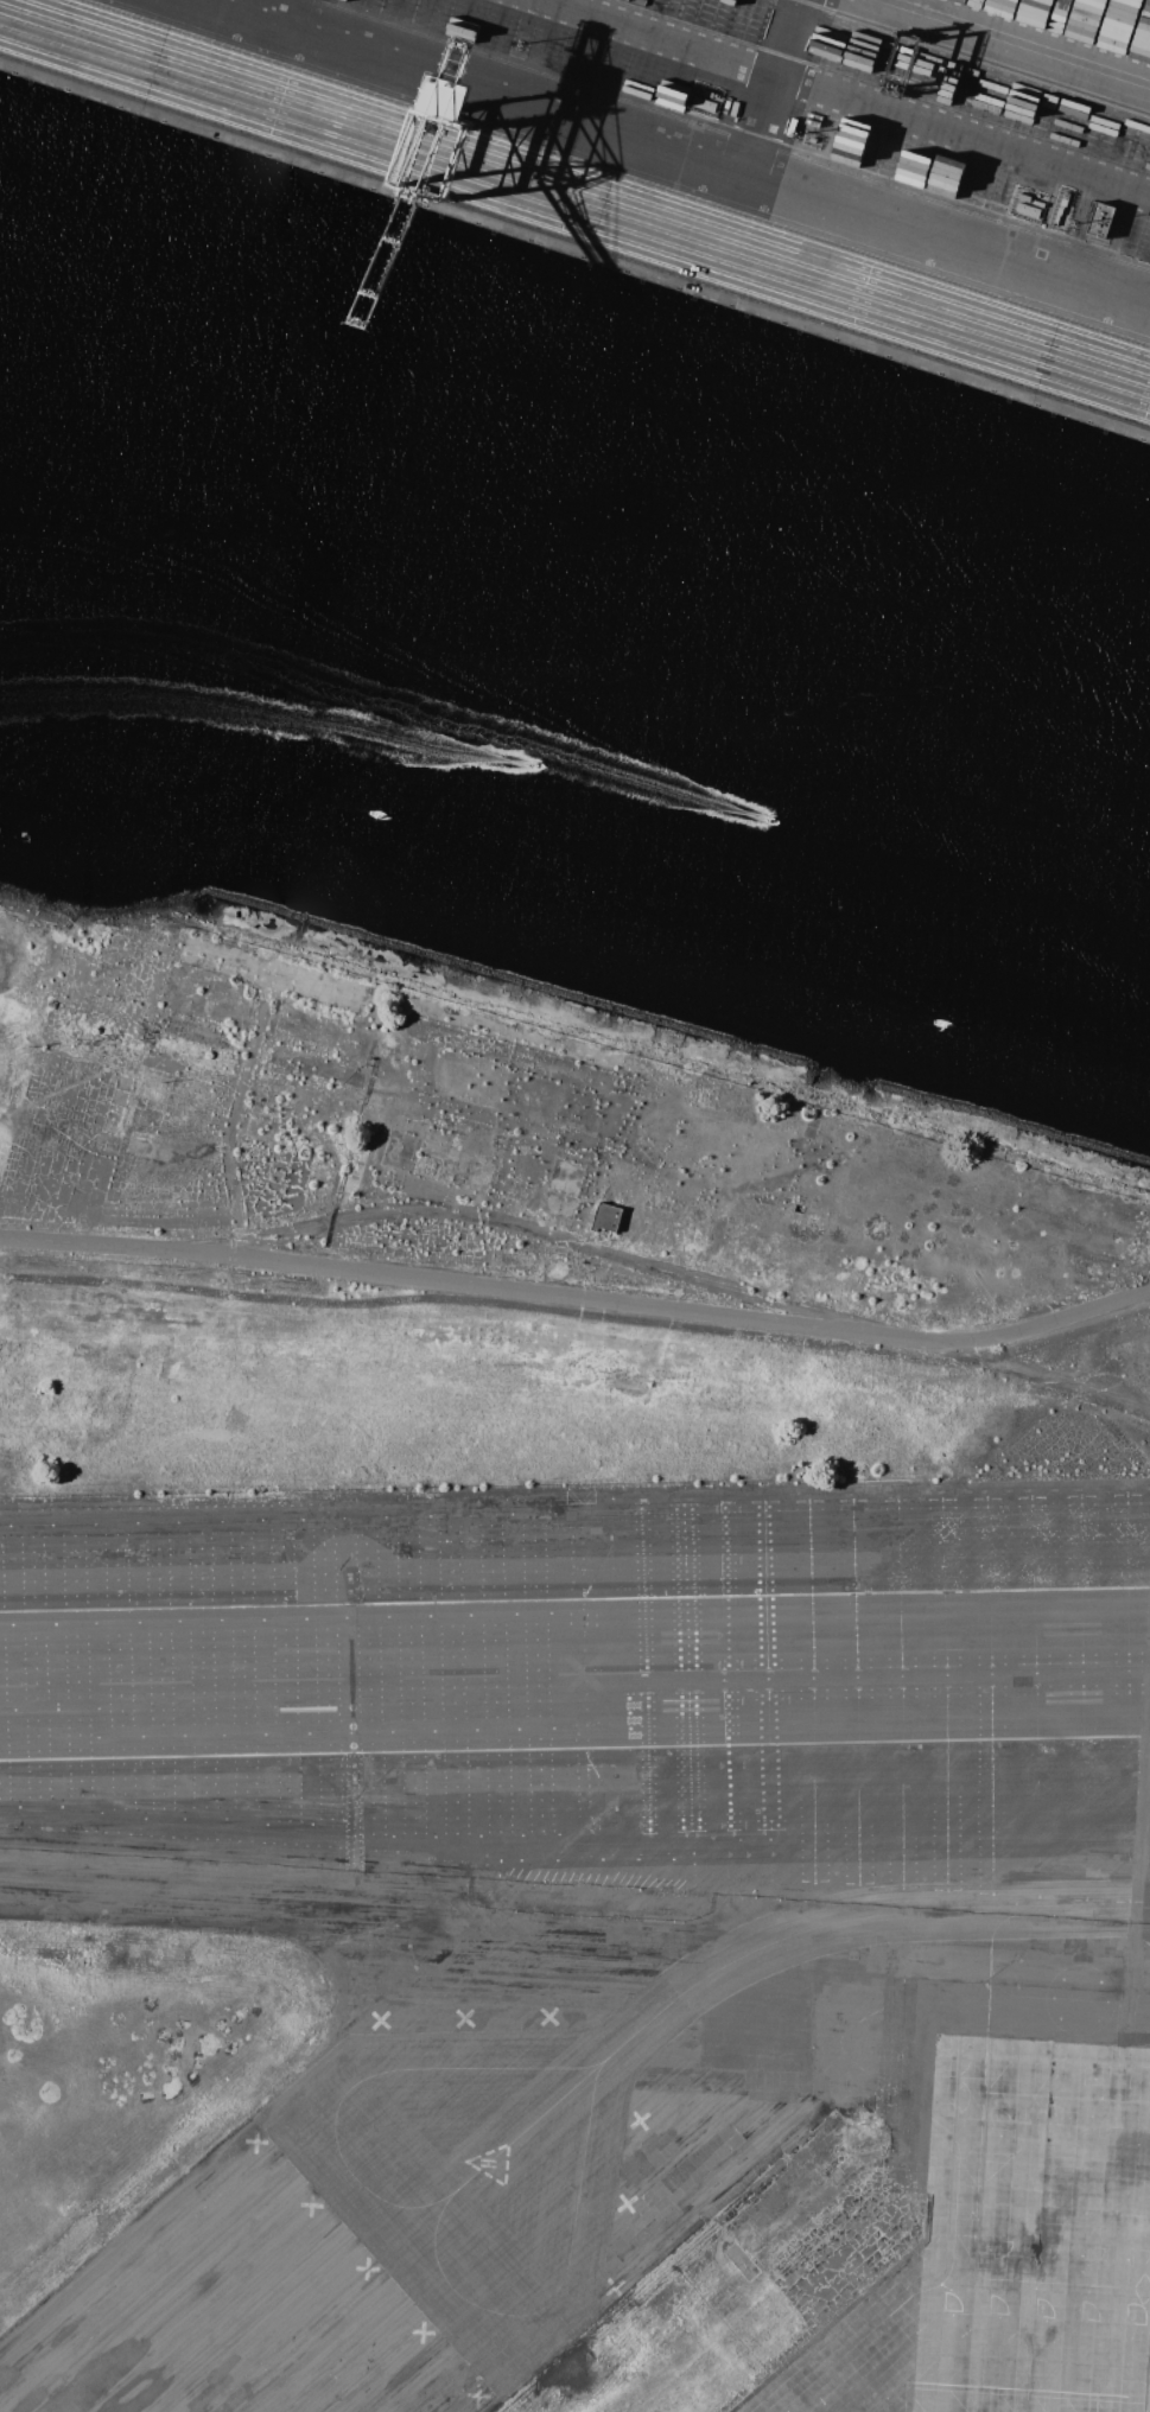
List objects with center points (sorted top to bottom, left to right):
building: (984, 5)
road: (273, 7)
building: (1034, 13)
road: (1009, 45)
road: (769, 84)
building: (707, 94)
road: (844, 98)
building: (705, 103)
road: (685, 149)
building: (928, 173)
building: (1025, 197)
building: (1038, 204)
building: (1061, 206)
building: (1028, 210)
building: (1100, 218)
river: (574, 610)
pier: (8, 833)
building: (605, 1217)
road: (578, 1298)
parking lot: (875, 1686)

